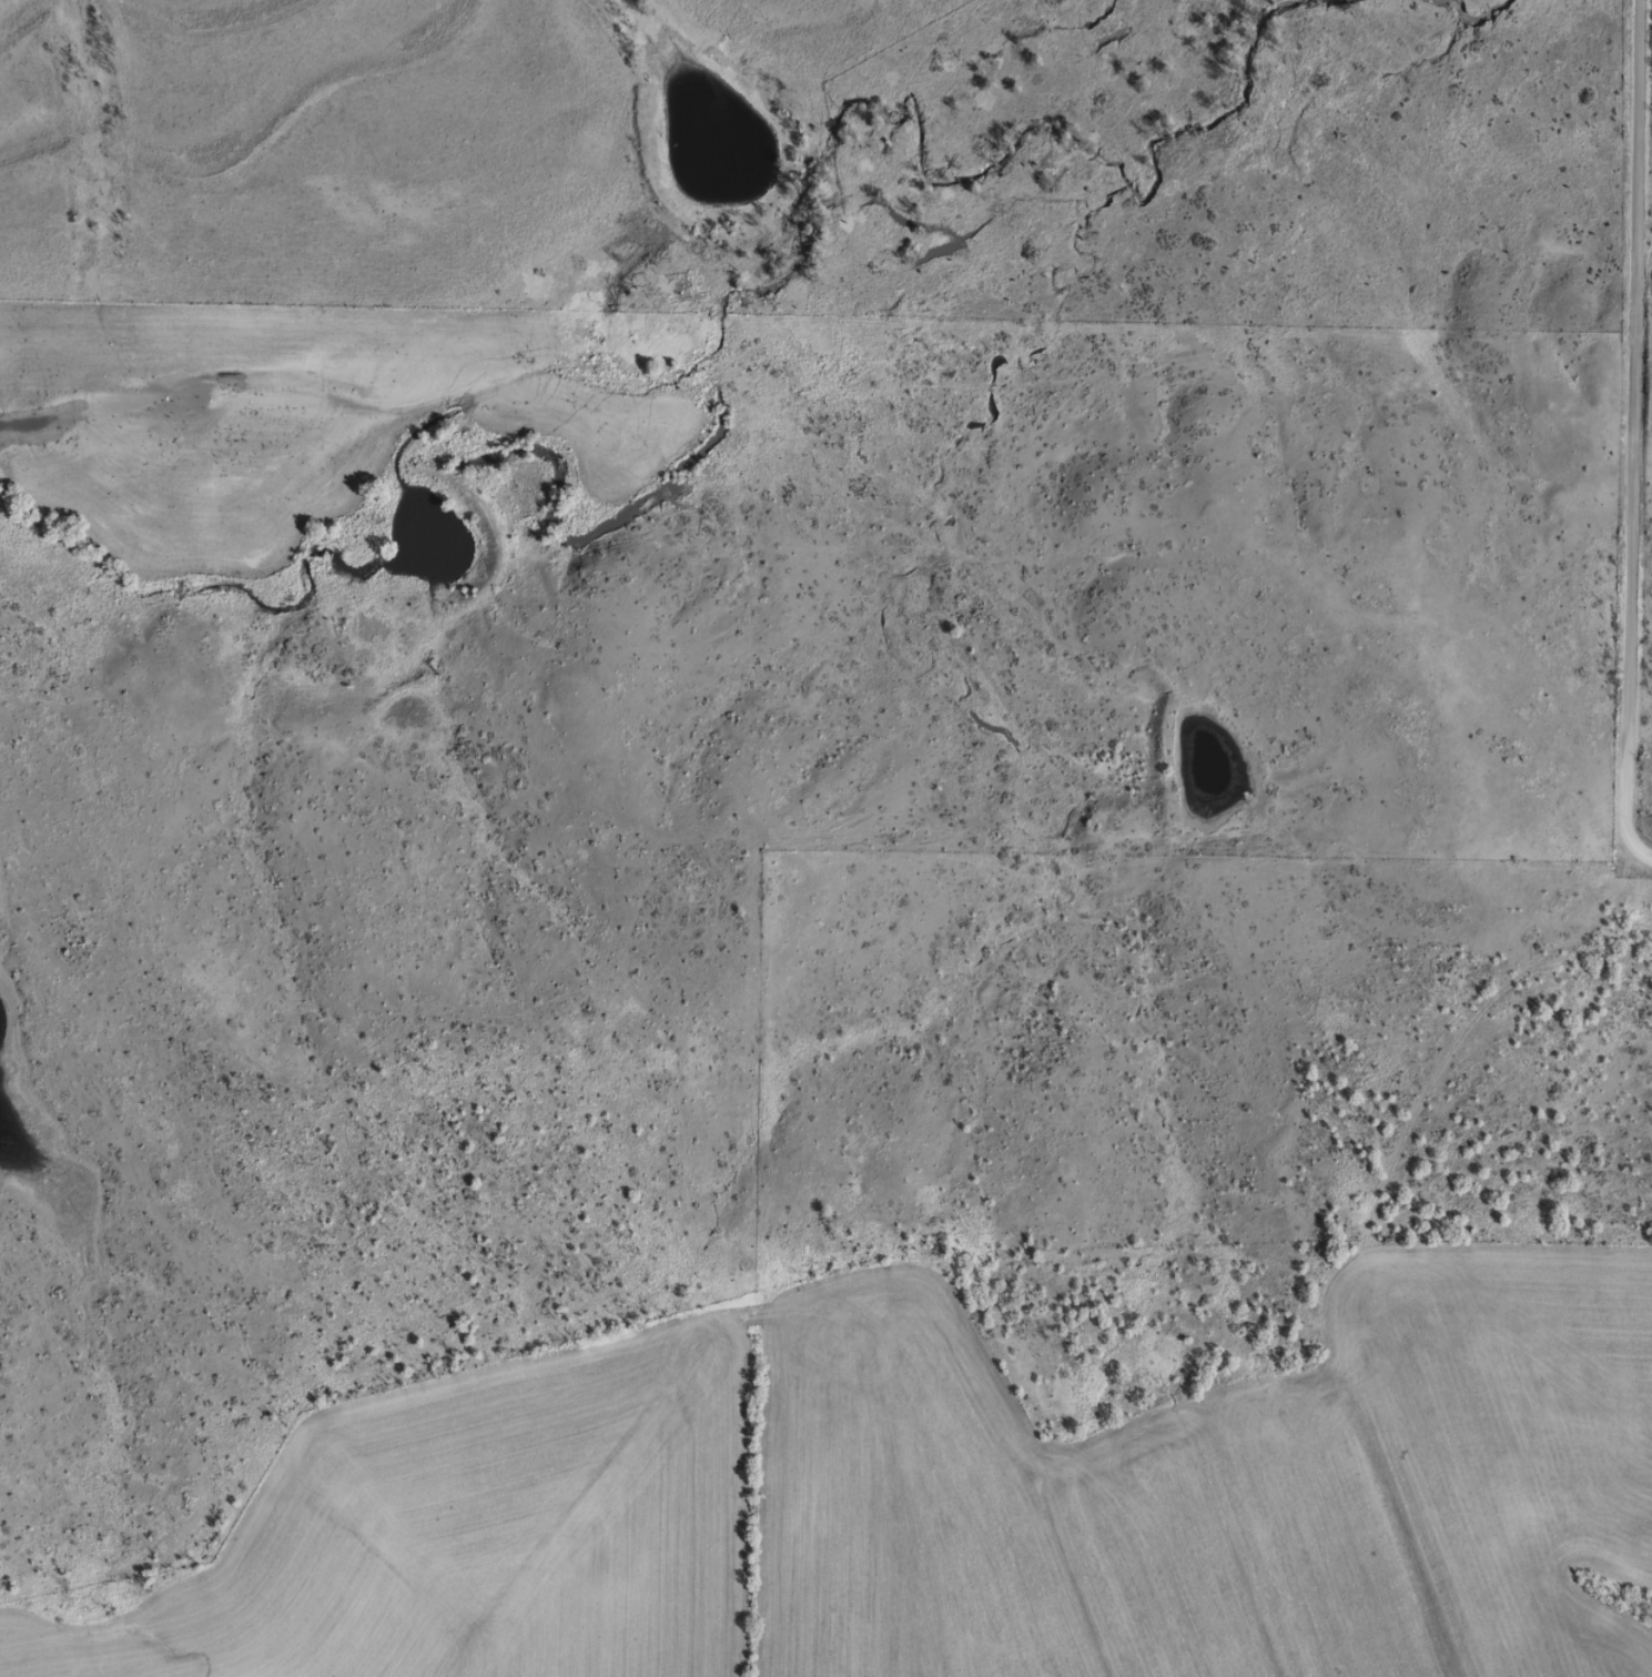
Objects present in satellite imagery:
road: (1638, 431)
park: (1588, 840)

